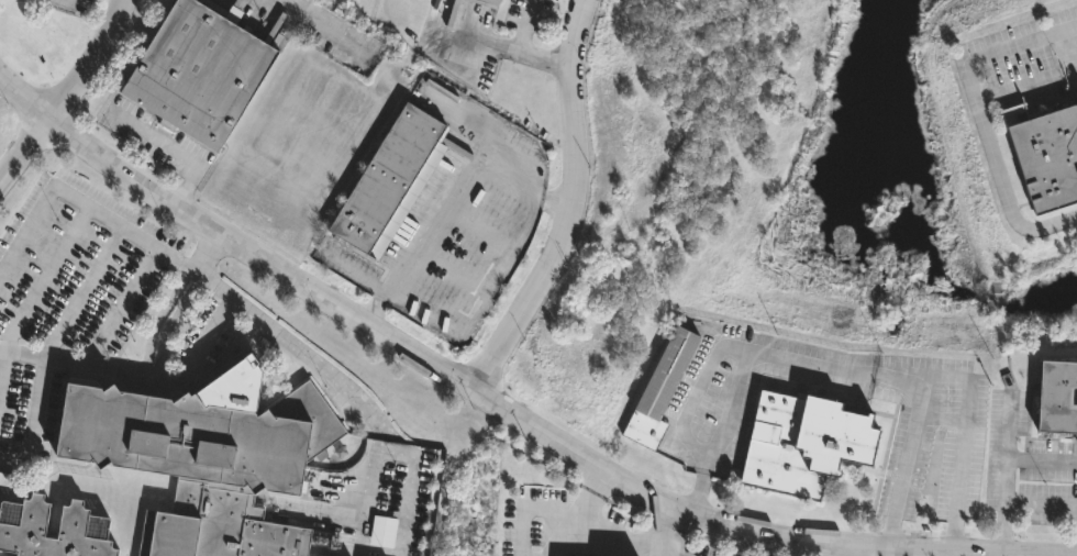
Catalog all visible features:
building: (489, 2)
road: (229, 8)
road: (268, 29)
road: (525, 46)
building: (199, 69)
road: (69, 96)
road: (984, 118)
road: (170, 152)
building: (1046, 156)
building: (388, 184)
road: (84, 204)
road: (455, 204)
road: (569, 204)
road: (122, 305)
road: (166, 318)
road: (284, 335)
road: (22, 353)
road: (871, 366)
road: (159, 375)
building: (659, 388)
building: (1058, 393)
road: (499, 403)
road: (33, 423)
road: (961, 437)
building: (803, 441)
road: (389, 453)
building: (206, 456)
road: (706, 456)
road: (1007, 468)
building: (7, 480)
road: (696, 490)
road: (1041, 501)
building: (511, 505)
road: (588, 524)
building: (80, 526)
road: (658, 536)
road: (850, 549)
road: (1073, 552)
road: (1073, 553)
road: (1056, 554)

